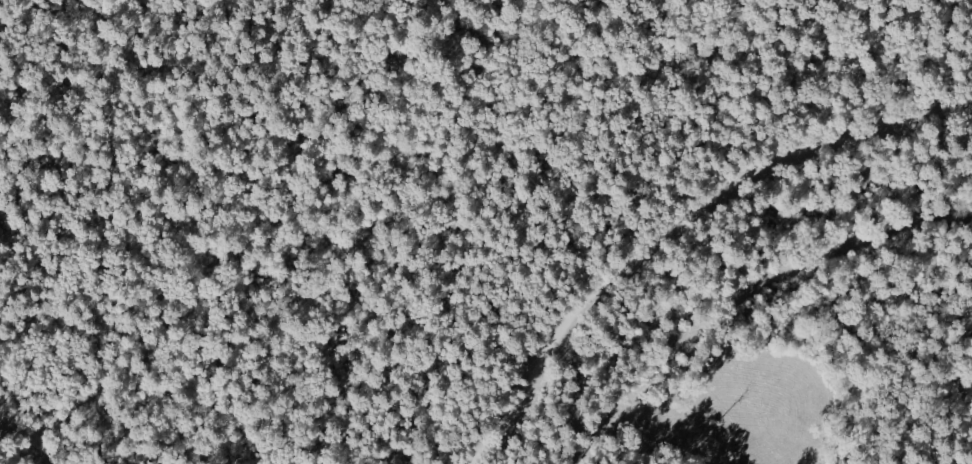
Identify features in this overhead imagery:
road: (677, 222)
road: (28, 440)

